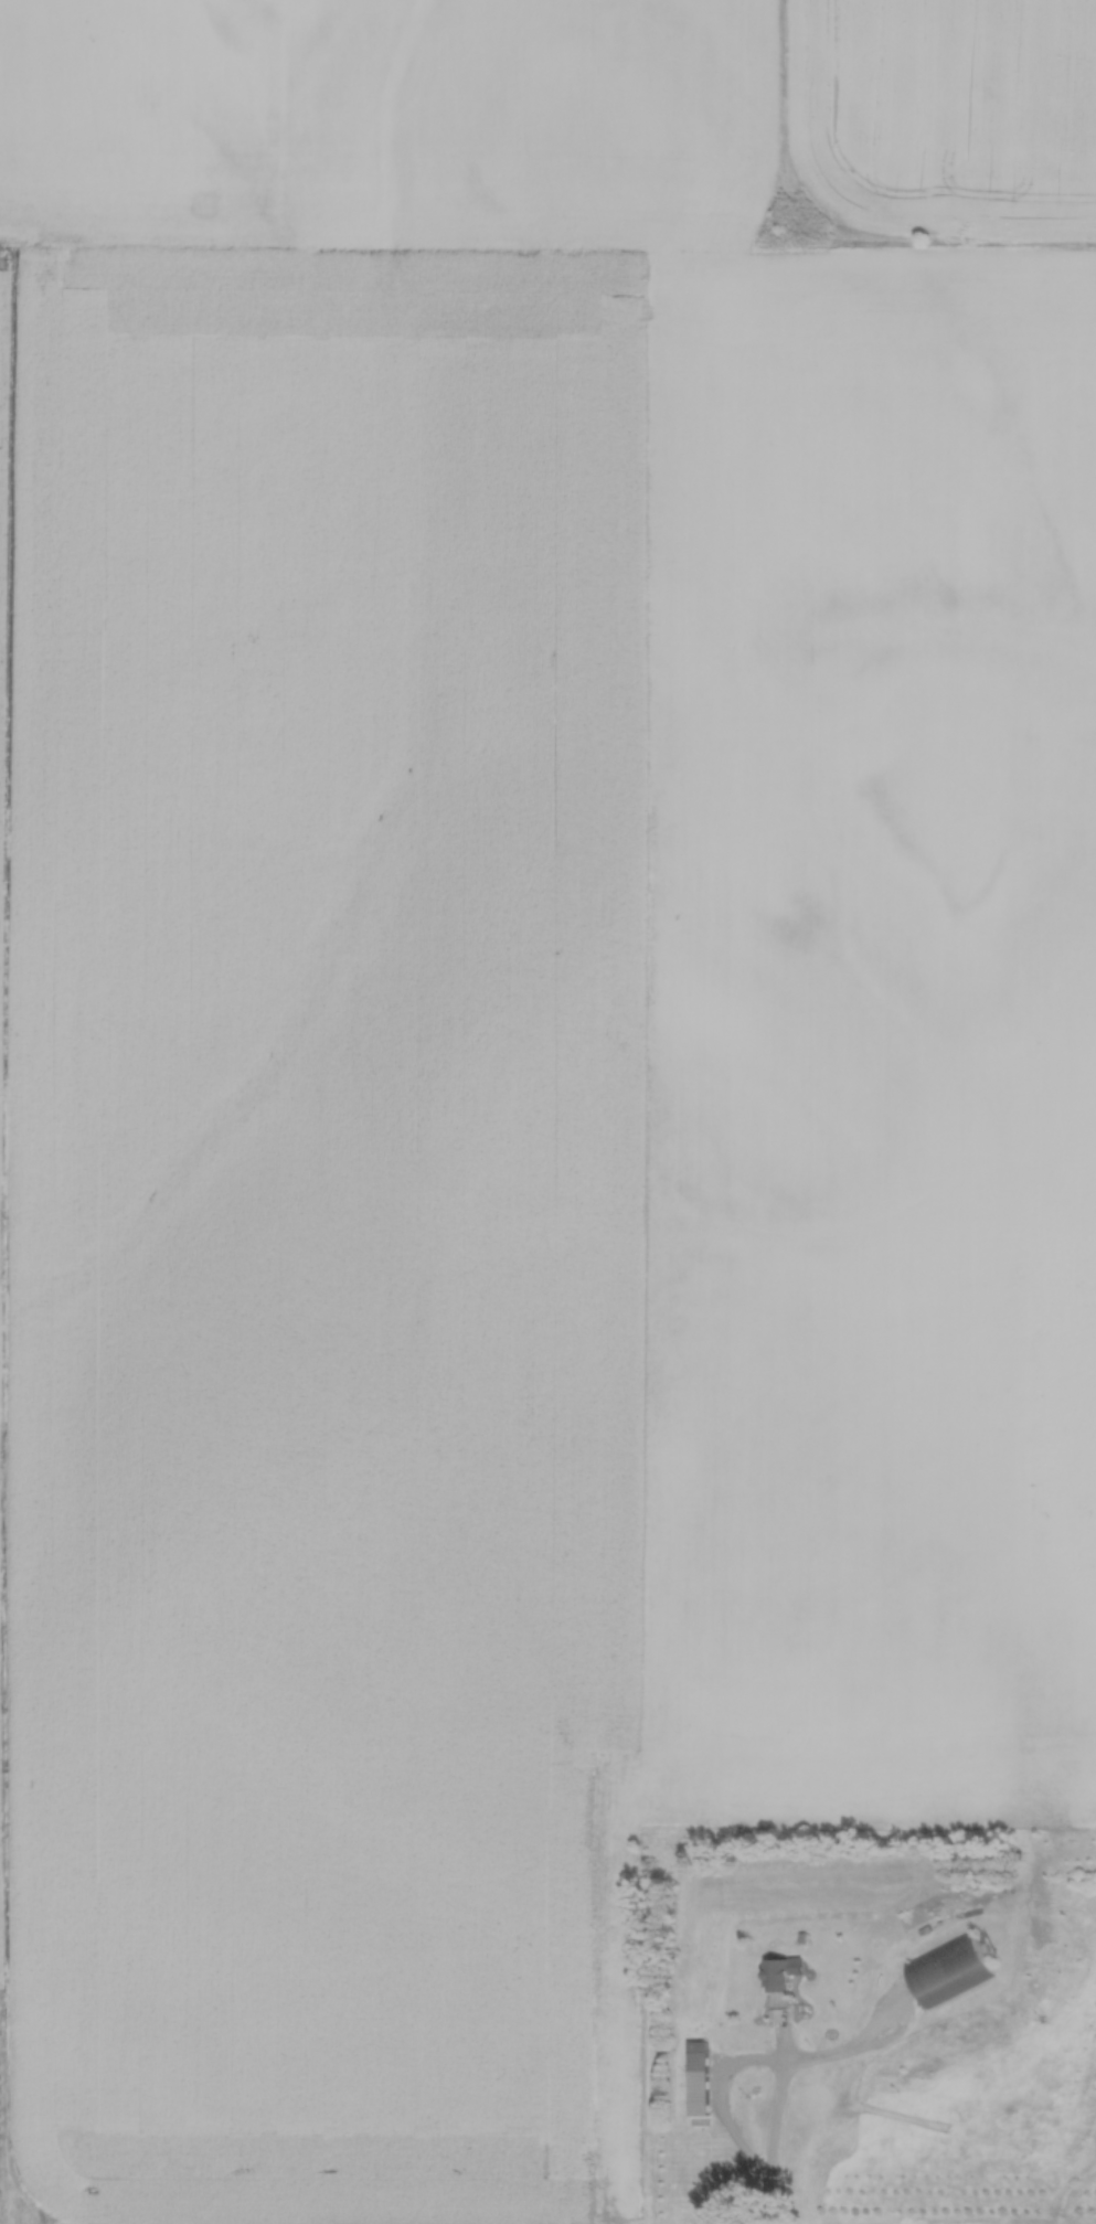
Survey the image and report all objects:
building: (949, 1967)
building: (777, 1981)
building: (696, 2082)
building: (804, 2098)
road: (785, 2105)
road: (776, 2209)

